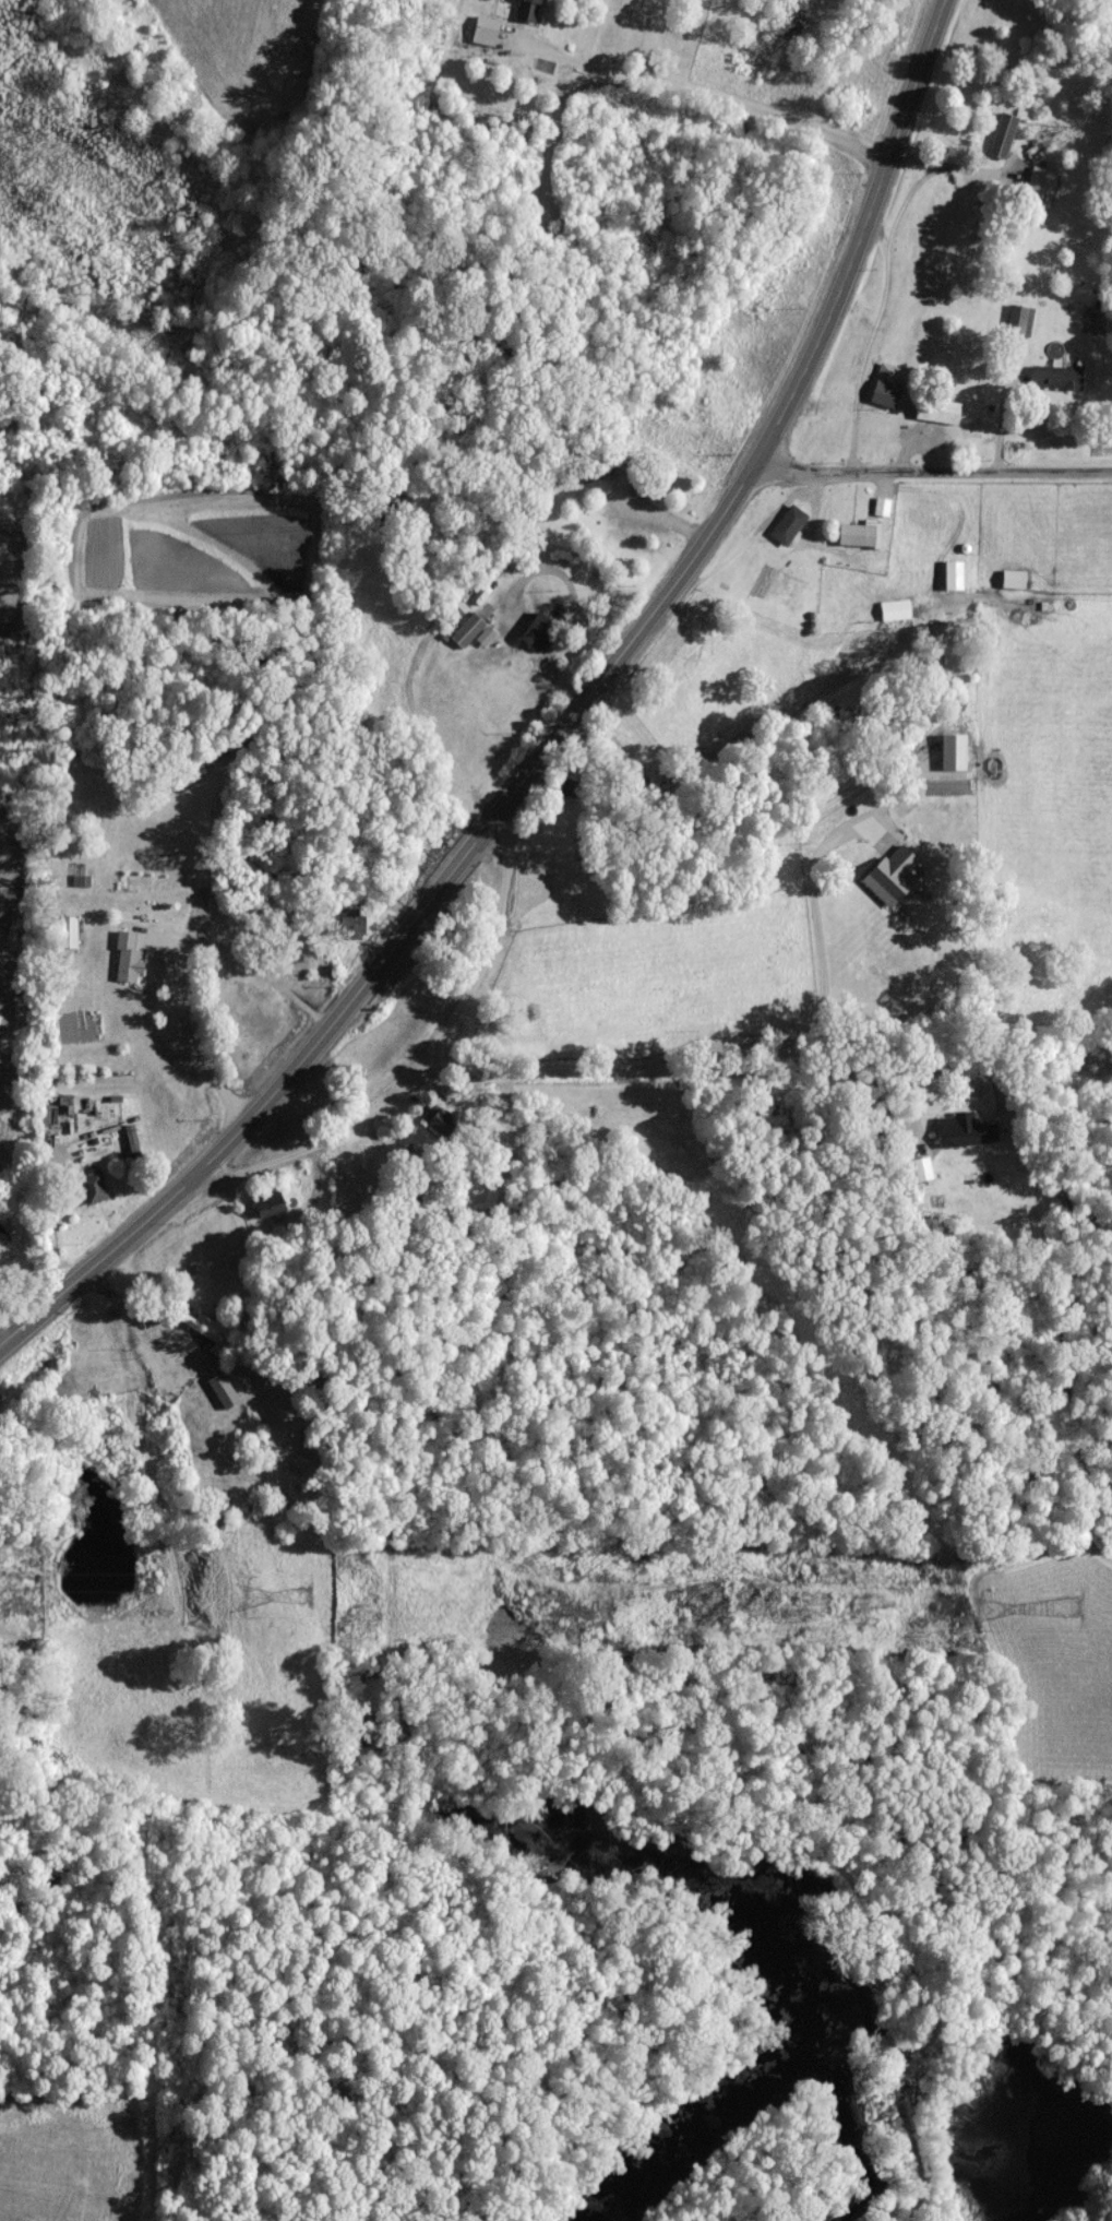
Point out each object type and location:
building: (527, 13)
building: (483, 36)
road: (703, 97)
building: (1001, 141)
building: (1038, 193)
building: (1053, 383)
building: (884, 393)
building: (936, 415)
road: (928, 479)
building: (643, 495)
building: (786, 531)
building: (856, 541)
building: (952, 581)
building: (1012, 585)
building: (893, 616)
building: (470, 638)
building: (537, 638)
road: (561, 735)
building: (890, 881)
building: (79, 886)
building: (348, 929)
building: (65, 938)
building: (124, 963)
road: (823, 1000)
building: (256, 1021)
road: (191, 1031)
road: (428, 1064)
road: (713, 1077)
building: (439, 1127)
building: (959, 1138)
building: (418, 1164)
building: (919, 1175)
building: (89, 1191)
building: (268, 1216)
building: (2, 1246)
building: (208, 1338)
building: (220, 1395)
power tower: (303, 1602)
power tower: (1071, 1611)

